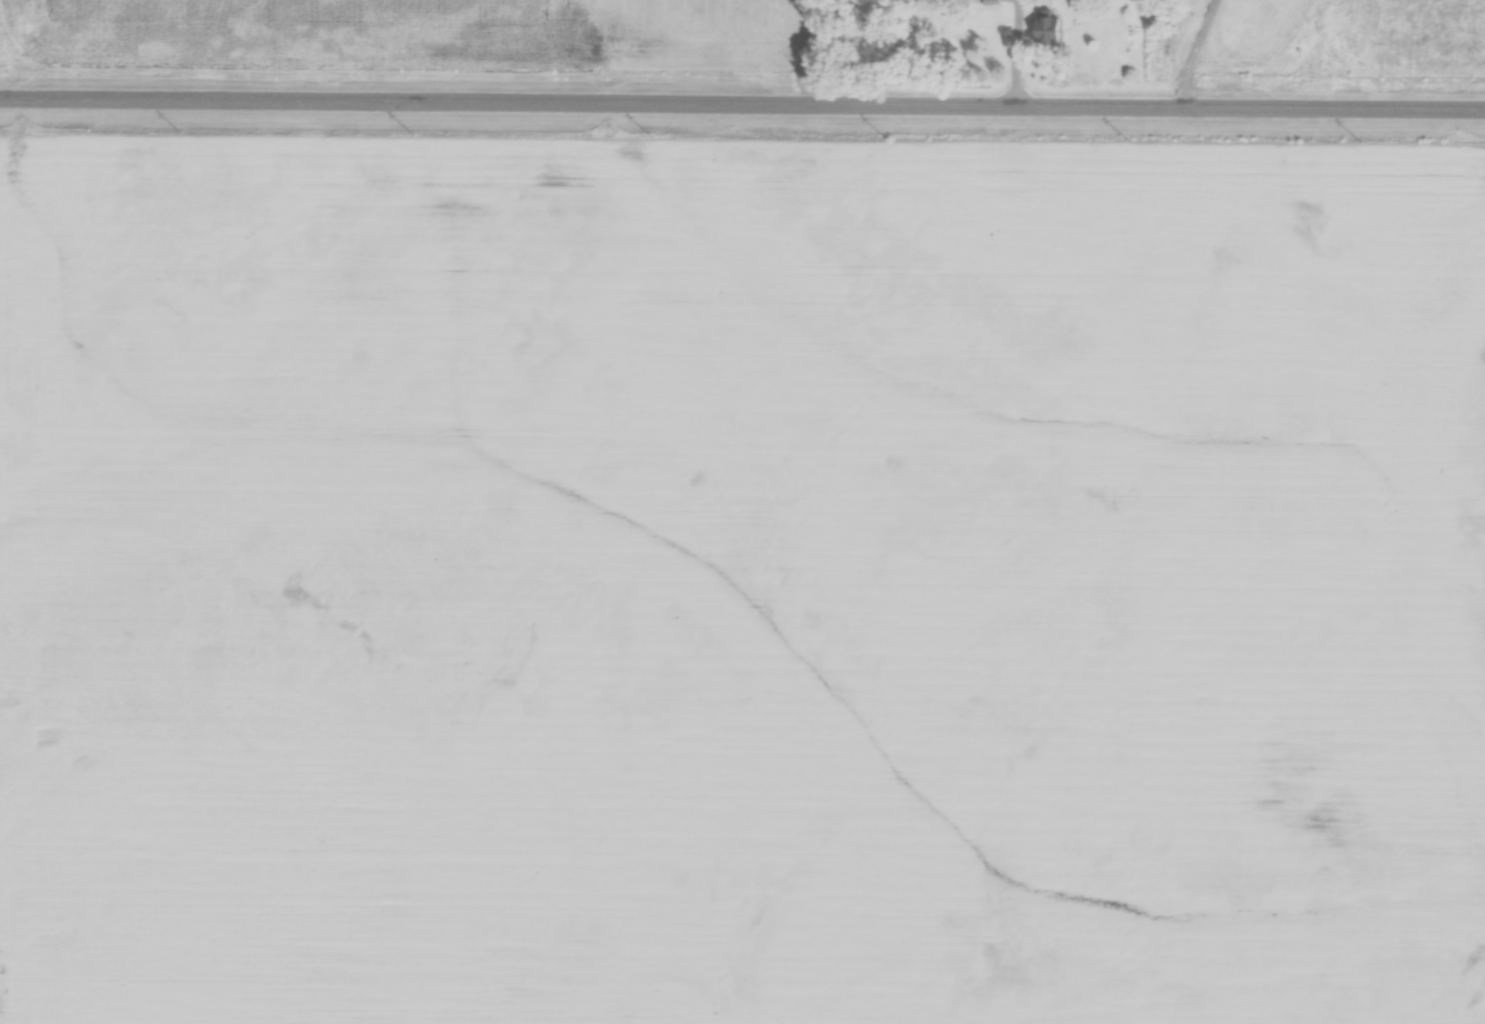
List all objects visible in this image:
building: (1052, 28)
road: (742, 109)

